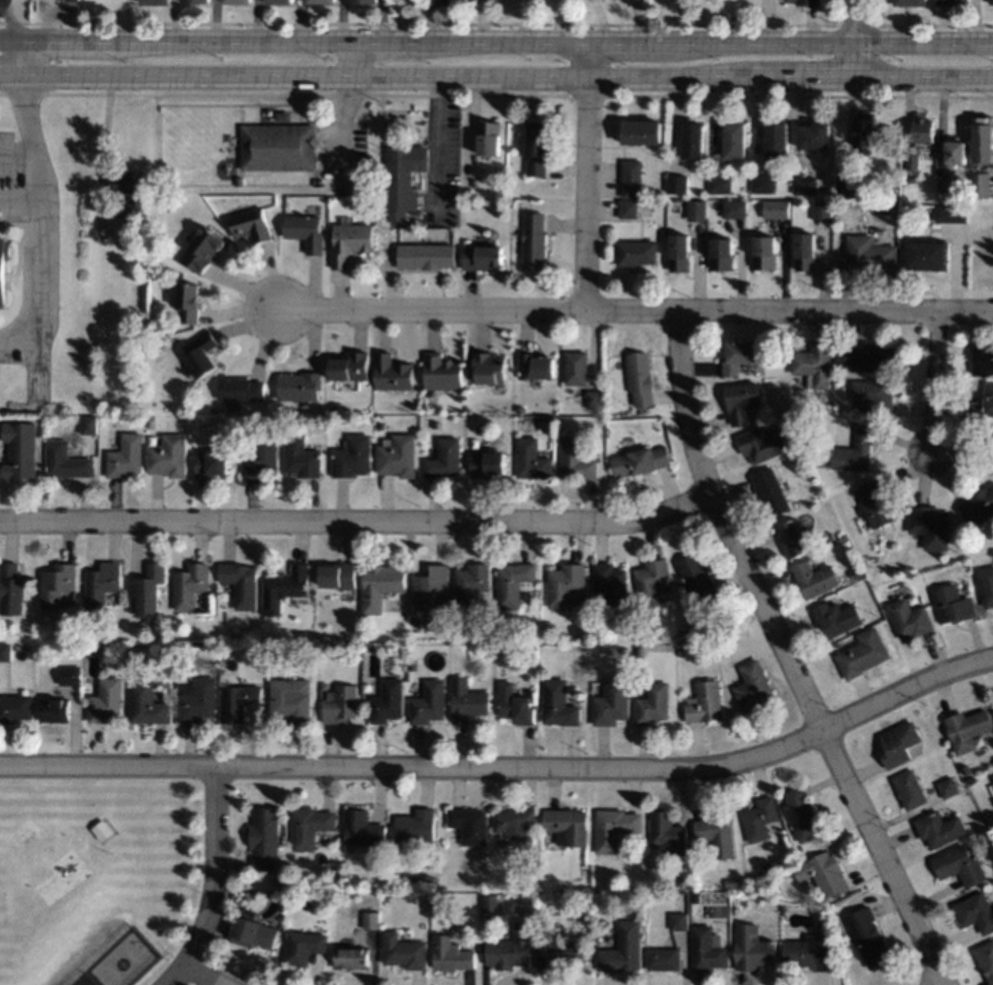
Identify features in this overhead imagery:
building: (322, 0)
building: (70, 1)
building: (196, 1)
building: (237, 1)
building: (279, 1)
building: (364, 1)
building: (805, 1)
building: (154, 2)
building: (909, 2)
building: (944, 2)
building: (990, 2)
road: (17, 19)
road: (855, 41)
road: (496, 44)
road: (24, 59)
road: (348, 62)
road: (496, 81)
building: (269, 112)
building: (283, 115)
building: (868, 131)
building: (922, 131)
building: (641, 132)
building: (814, 136)
building: (983, 137)
building: (488, 138)
building: (777, 139)
building: (693, 140)
building: (734, 140)
building: (277, 146)
road: (102, 147)
building: (535, 147)
road: (441, 148)
building: (954, 153)
building: (911, 160)
building: (402, 175)
building: (851, 177)
road: (588, 178)
building: (631, 178)
building: (910, 178)
building: (238, 181)
building: (472, 182)
building: (677, 183)
building: (720, 183)
building: (763, 183)
building: (944, 183)
building: (978, 184)
building: (804, 185)
building: (963, 186)
building: (840, 190)
building: (136, 197)
road: (20, 199)
building: (627, 208)
building: (734, 209)
building: (775, 209)
building: (821, 209)
building: (696, 210)
building: (886, 210)
building: (949, 213)
road: (41, 222)
building: (249, 225)
building: (134, 229)
building: (304, 231)
building: (349, 241)
building: (533, 241)
building: (201, 249)
building: (804, 251)
building: (634, 252)
building: (679, 252)
building: (721, 253)
building: (764, 253)
building: (425, 255)
building: (866, 255)
building: (926, 255)
building: (482, 257)
building: (3, 268)
building: (187, 301)
road: (790, 311)
road: (435, 313)
building: (200, 354)
building: (739, 355)
building: (867, 357)
building: (981, 358)
building: (813, 364)
building: (534, 366)
building: (349, 367)
building: (575, 367)
building: (489, 368)
building: (440, 372)
building: (391, 373)
building: (639, 378)
road: (933, 379)
building: (298, 386)
building: (239, 387)
building: (874, 395)
building: (592, 397)
building: (741, 400)
building: (982, 404)
building: (333, 405)
building: (148, 422)
building: (433, 423)
building: (87, 424)
building: (380, 426)
building: (760, 444)
building: (20, 450)
building: (854, 451)
building: (992, 452)
building: (260, 455)
building: (396, 455)
building: (124, 456)
building: (167, 456)
building: (300, 457)
building: (351, 457)
building: (443, 458)
building: (574, 458)
building: (530, 459)
building: (64, 460)
building: (638, 461)
building: (209, 463)
building: (486, 464)
building: (992, 466)
building: (770, 492)
building: (875, 504)
building: (978, 507)
road: (356, 524)
building: (930, 526)
building: (829, 536)
building: (791, 538)
building: (856, 573)
building: (337, 575)
building: (696, 577)
building: (814, 579)
building: (650, 580)
building: (101, 583)
building: (239, 583)
building: (513, 583)
building: (609, 583)
building: (57, 584)
building: (470, 584)
building: (564, 584)
building: (379, 585)
building: (431, 585)
building: (985, 585)
building: (188, 586)
building: (283, 588)
building: (11, 589)
building: (144, 589)
building: (951, 603)
building: (836, 617)
building: (909, 619)
building: (416, 621)
building: (87, 624)
building: (519, 638)
building: (91, 647)
building: (530, 648)
building: (163, 649)
building: (297, 649)
building: (402, 649)
building: (623, 650)
building: (679, 650)
building: (177, 651)
building: (639, 651)
building: (5, 652)
building: (862, 654)
road: (783, 656)
building: (411, 664)
building: (69, 676)
building: (751, 686)
building: (195, 699)
building: (104, 700)
building: (289, 700)
building: (466, 700)
building: (235, 701)
building: (386, 701)
building: (427, 702)
building: (556, 703)
building: (610, 703)
building: (651, 703)
building: (703, 703)
building: (143, 704)
building: (339, 704)
building: (514, 704)
building: (15, 707)
building: (53, 709)
building: (966, 729)
building: (898, 743)
road: (506, 767)
building: (966, 768)
building: (992, 777)
building: (971, 779)
building: (947, 787)
building: (909, 788)
building: (992, 799)
building: (800, 814)
building: (759, 818)
building: (512, 819)
building: (468, 824)
building: (309, 826)
building: (415, 826)
building: (566, 826)
building: (361, 828)
building: (612, 828)
building: (938, 828)
building: (101, 829)
building: (666, 832)
building: (716, 834)
building: (264, 837)
building: (958, 865)
building: (822, 872)
building: (331, 876)
park: (95, 877)
building: (426, 880)
building: (676, 881)
building: (731, 882)
road: (214, 884)
building: (694, 898)
building: (490, 902)
park: (6, 904)
building: (782, 910)
building: (975, 911)
building: (370, 920)
building: (679, 921)
building: (601, 923)
building: (251, 930)
building: (866, 937)
building: (304, 946)
building: (509, 948)
building: (706, 948)
building: (752, 948)
building: (621, 949)
building: (556, 950)
building: (403, 951)
building: (807, 952)
building: (449, 954)
building: (349, 956)
building: (662, 958)
building: (985, 958)
park: (121, 959)
road: (206, 973)

